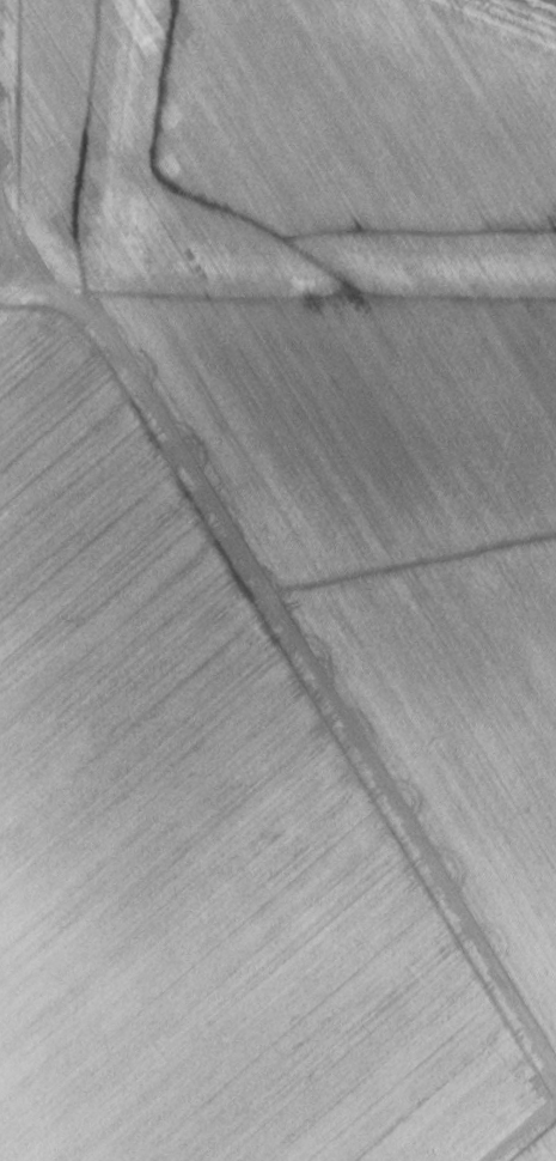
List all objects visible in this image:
road: (555, 0)
road: (297, 663)
road: (521, 1131)

